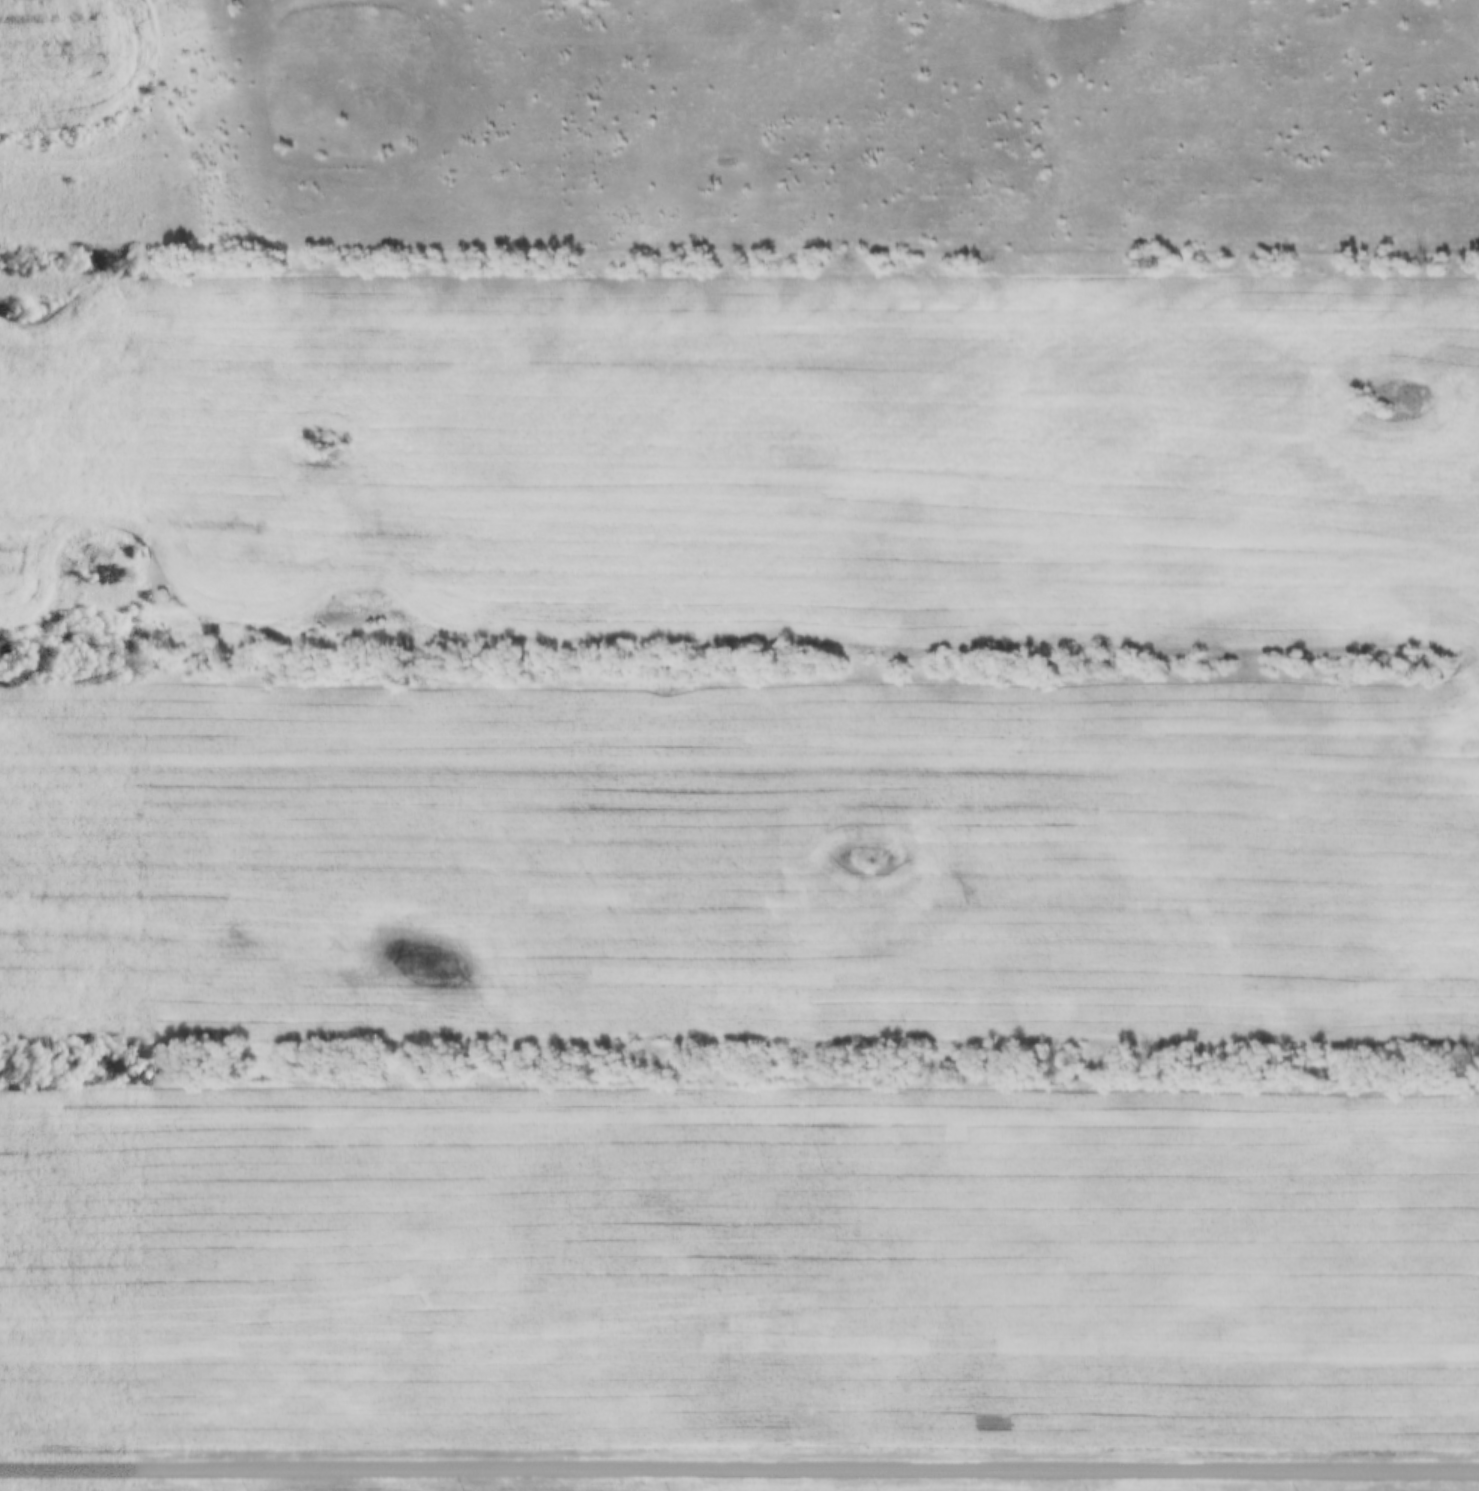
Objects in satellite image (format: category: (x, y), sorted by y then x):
road: (739, 1466)

